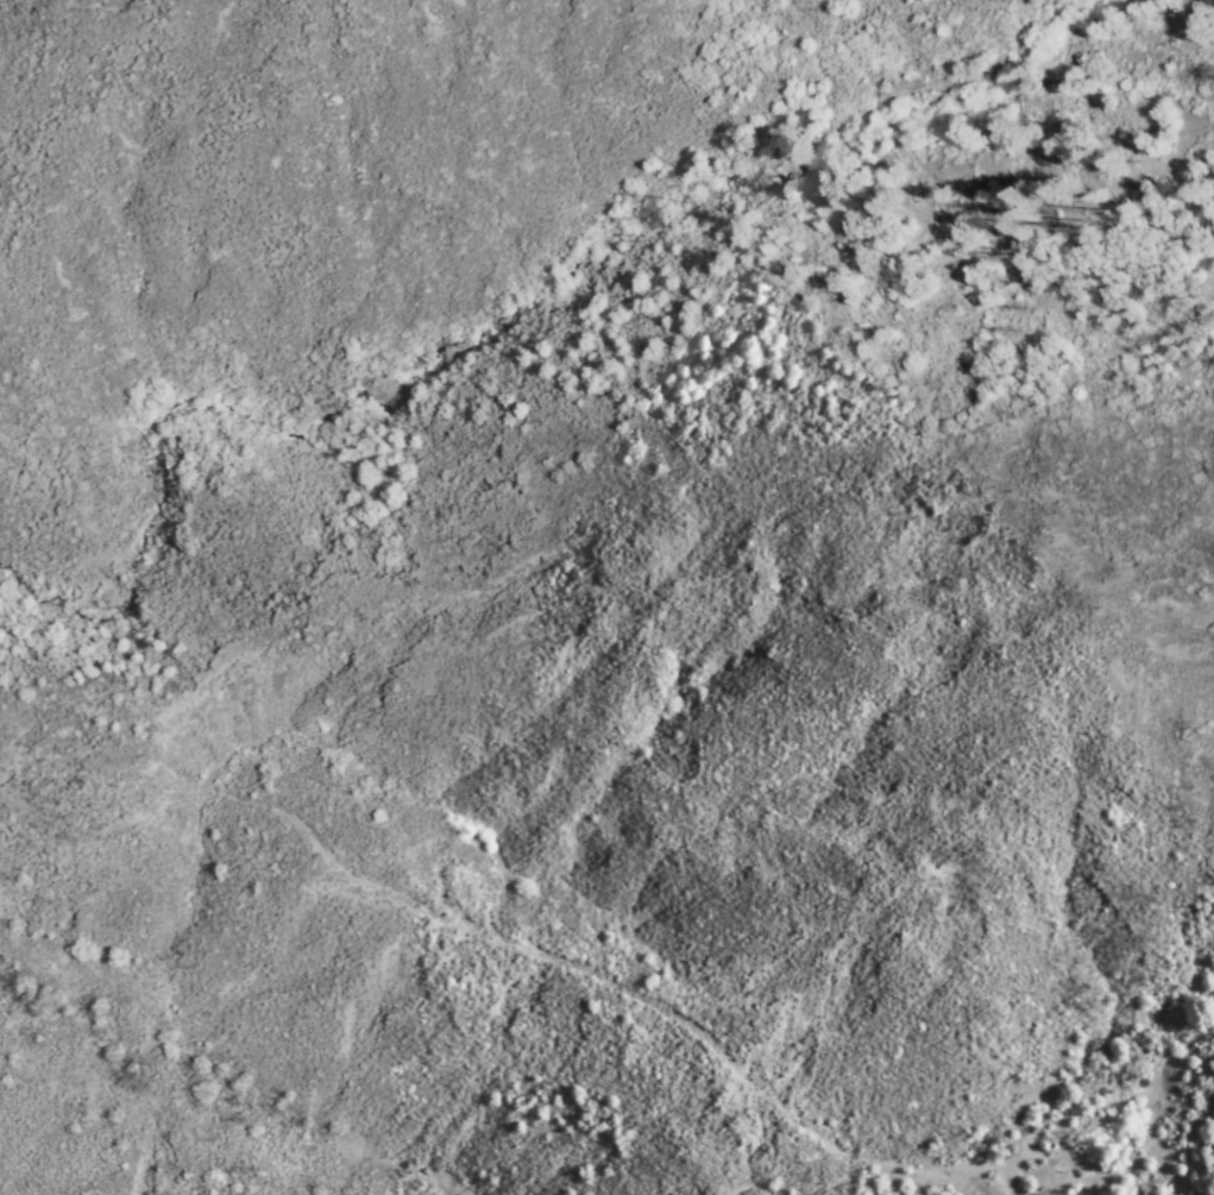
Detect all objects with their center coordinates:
road: (464, 929)

